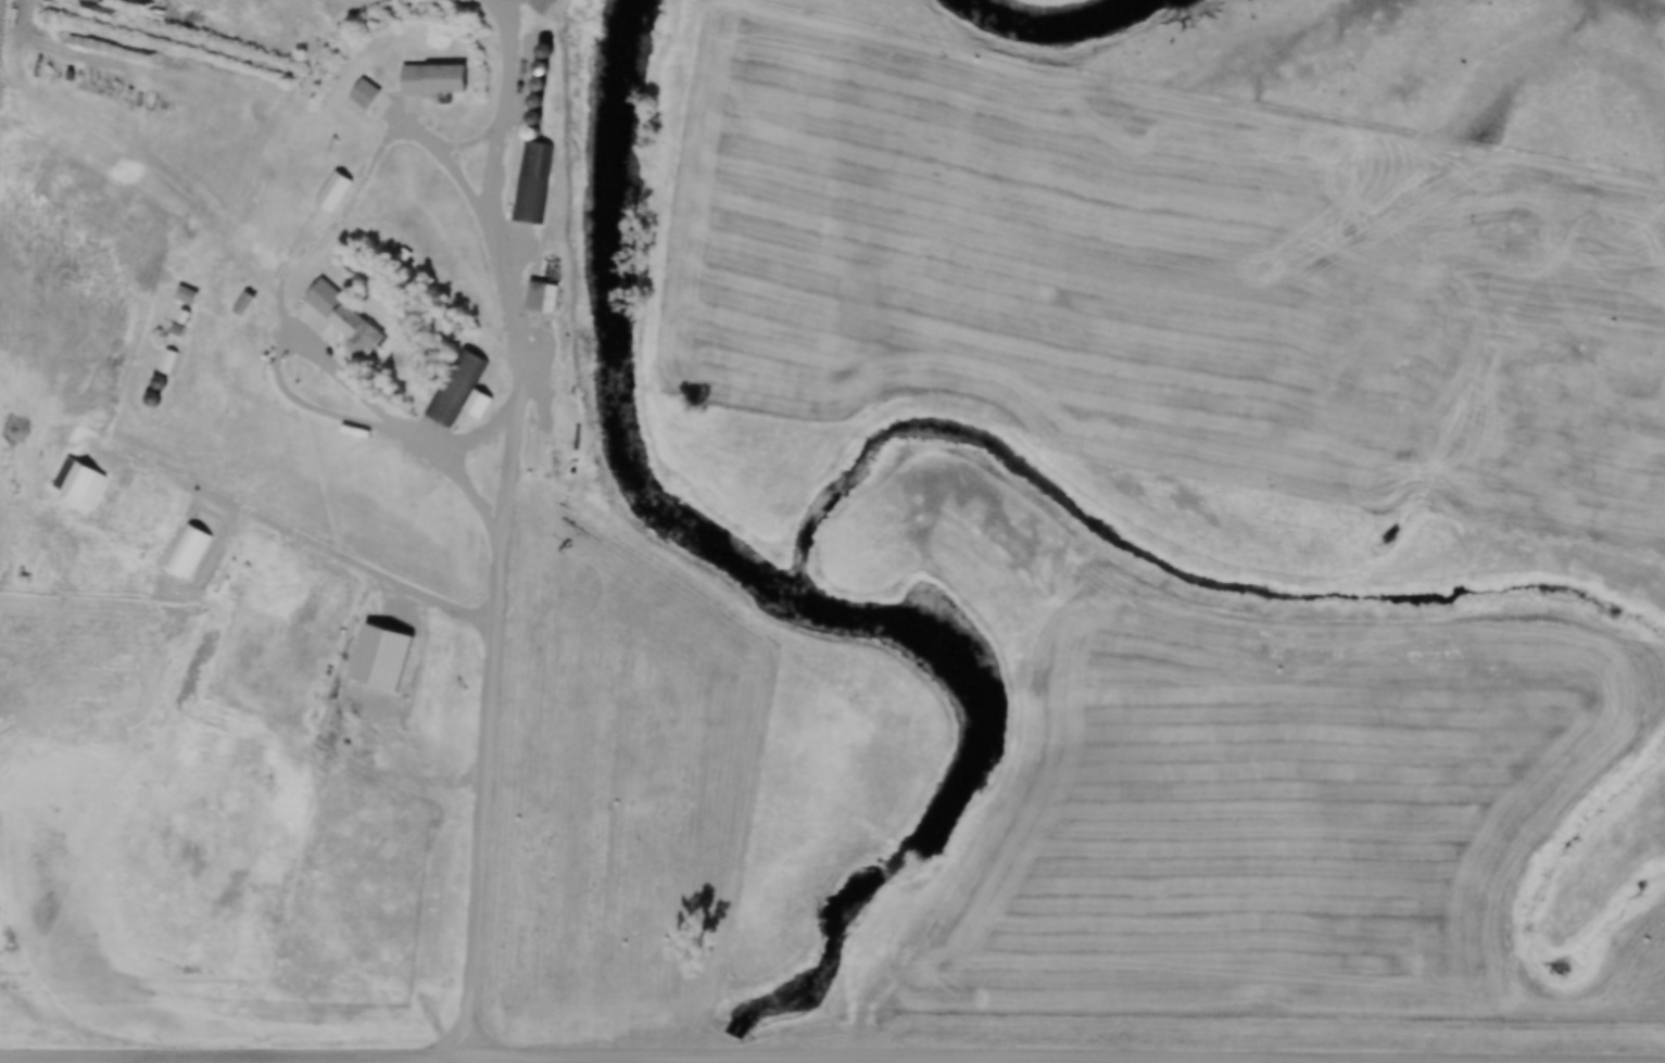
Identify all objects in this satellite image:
building: (543, 47)
building: (431, 81)
building: (369, 97)
road: (136, 151)
building: (531, 182)
building: (333, 191)
road: (285, 294)
building: (191, 295)
building: (542, 298)
building: (242, 303)
building: (330, 312)
building: (167, 360)
building: (458, 389)
building: (79, 480)
road: (234, 506)
road: (508, 523)
building: (186, 549)
road: (327, 752)
road: (861, 1024)
road: (646, 1059)
road: (884, 1062)

